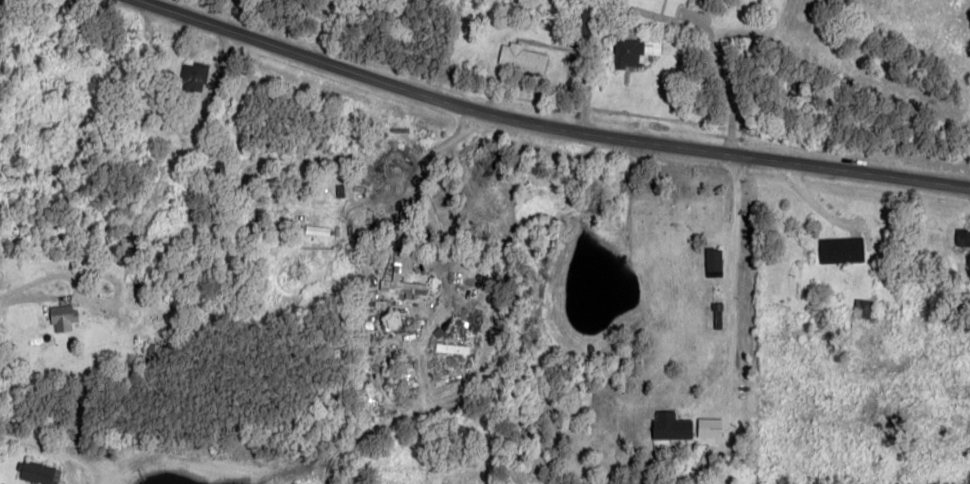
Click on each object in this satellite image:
road: (301, 26)
building: (579, 26)
road: (411, 45)
building: (633, 49)
building: (520, 58)
building: (193, 76)
road: (957, 113)
road: (545, 125)
building: (963, 238)
building: (840, 250)
building: (712, 261)
building: (401, 286)
building: (860, 308)
building: (370, 309)
building: (61, 318)
building: (669, 427)
building: (38, 473)

